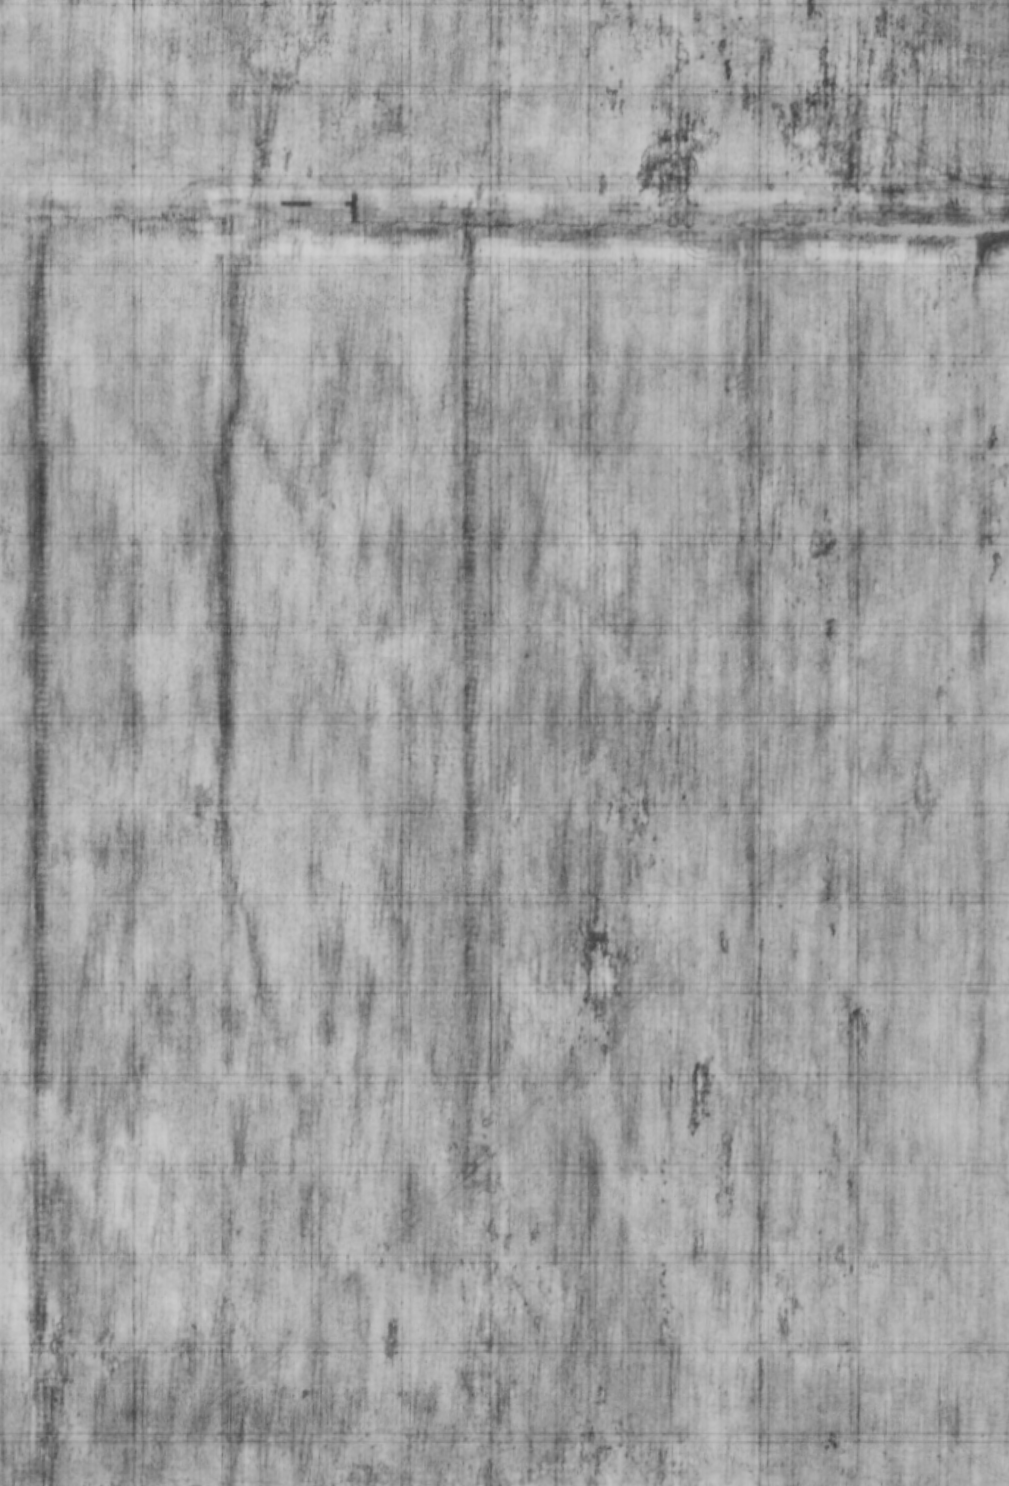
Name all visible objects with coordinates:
crop: (504, 743)

